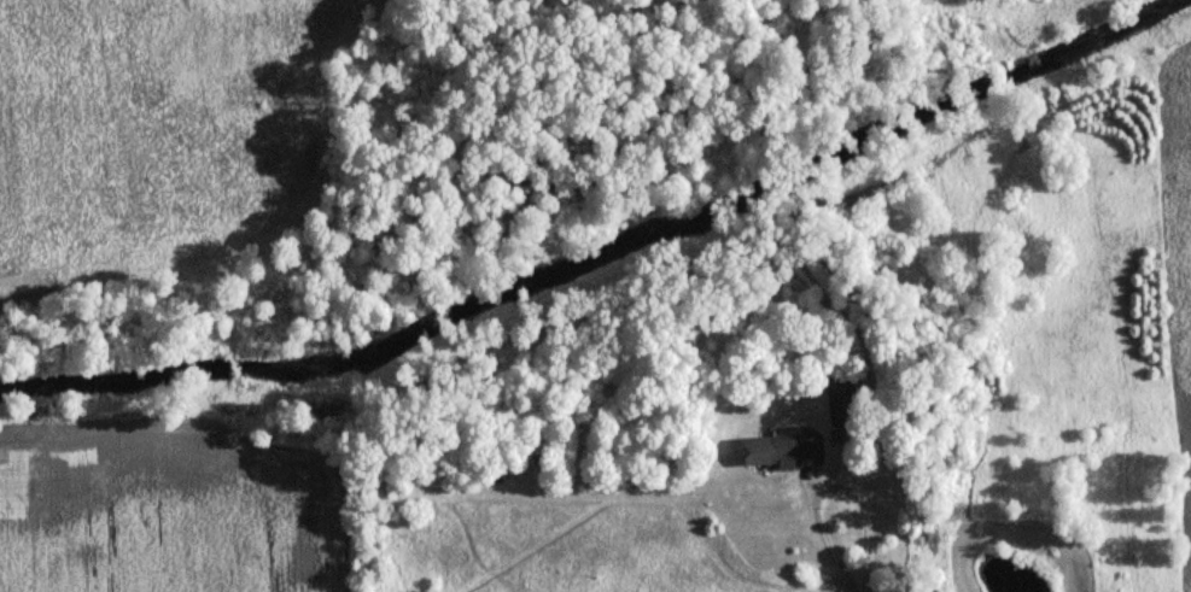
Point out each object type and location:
river: (605, 254)
building: (771, 451)
road: (827, 485)
crop: (169, 505)

